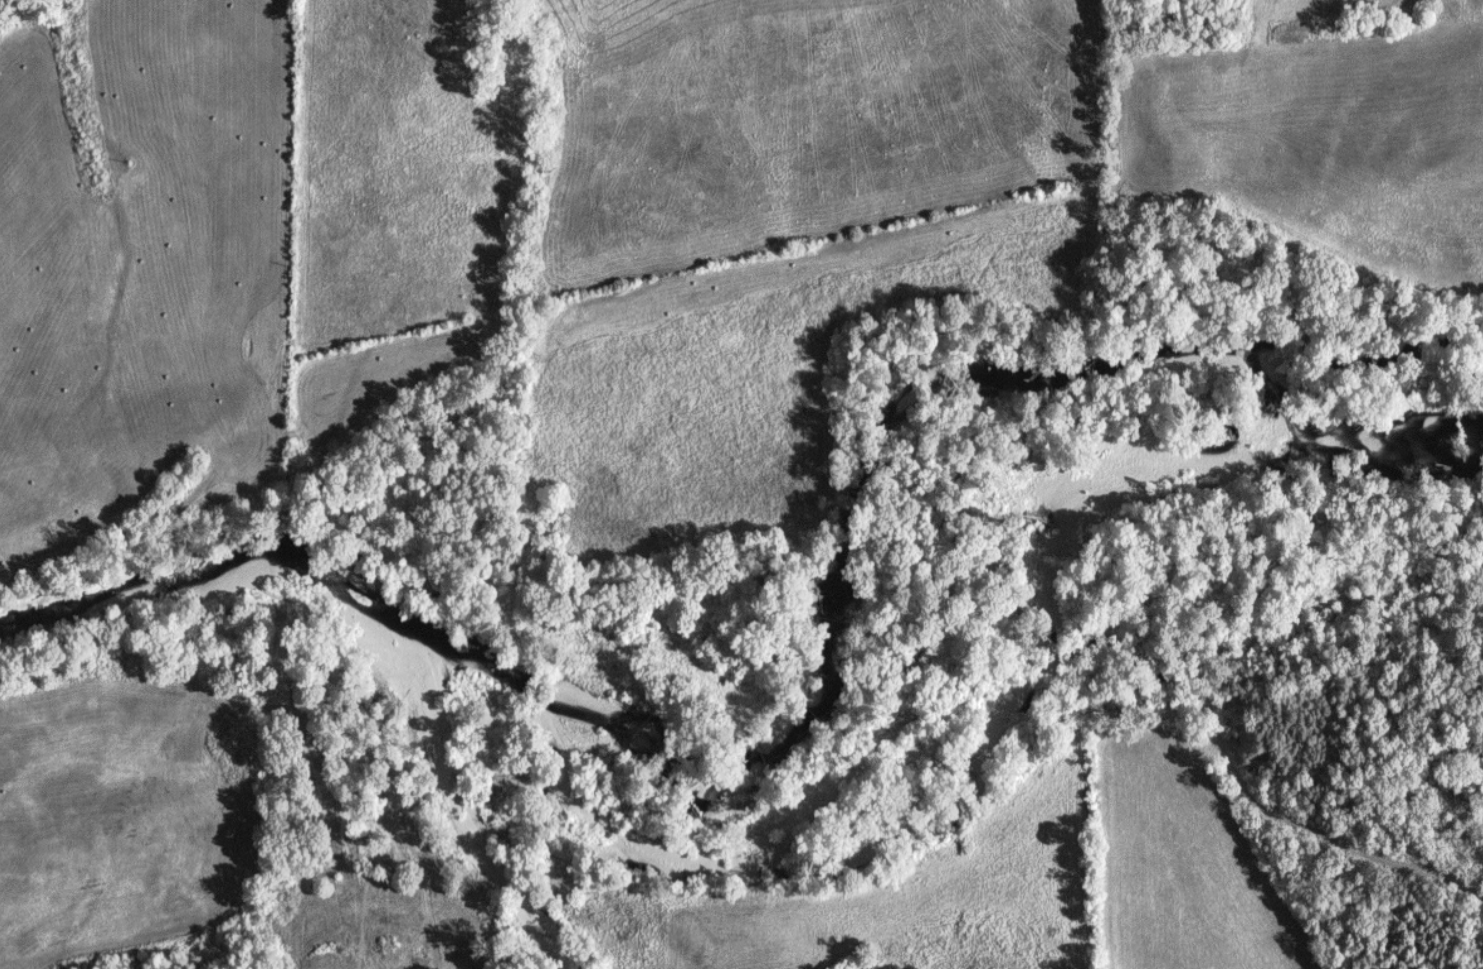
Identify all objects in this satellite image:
river: (1382, 446)
river: (751, 798)

